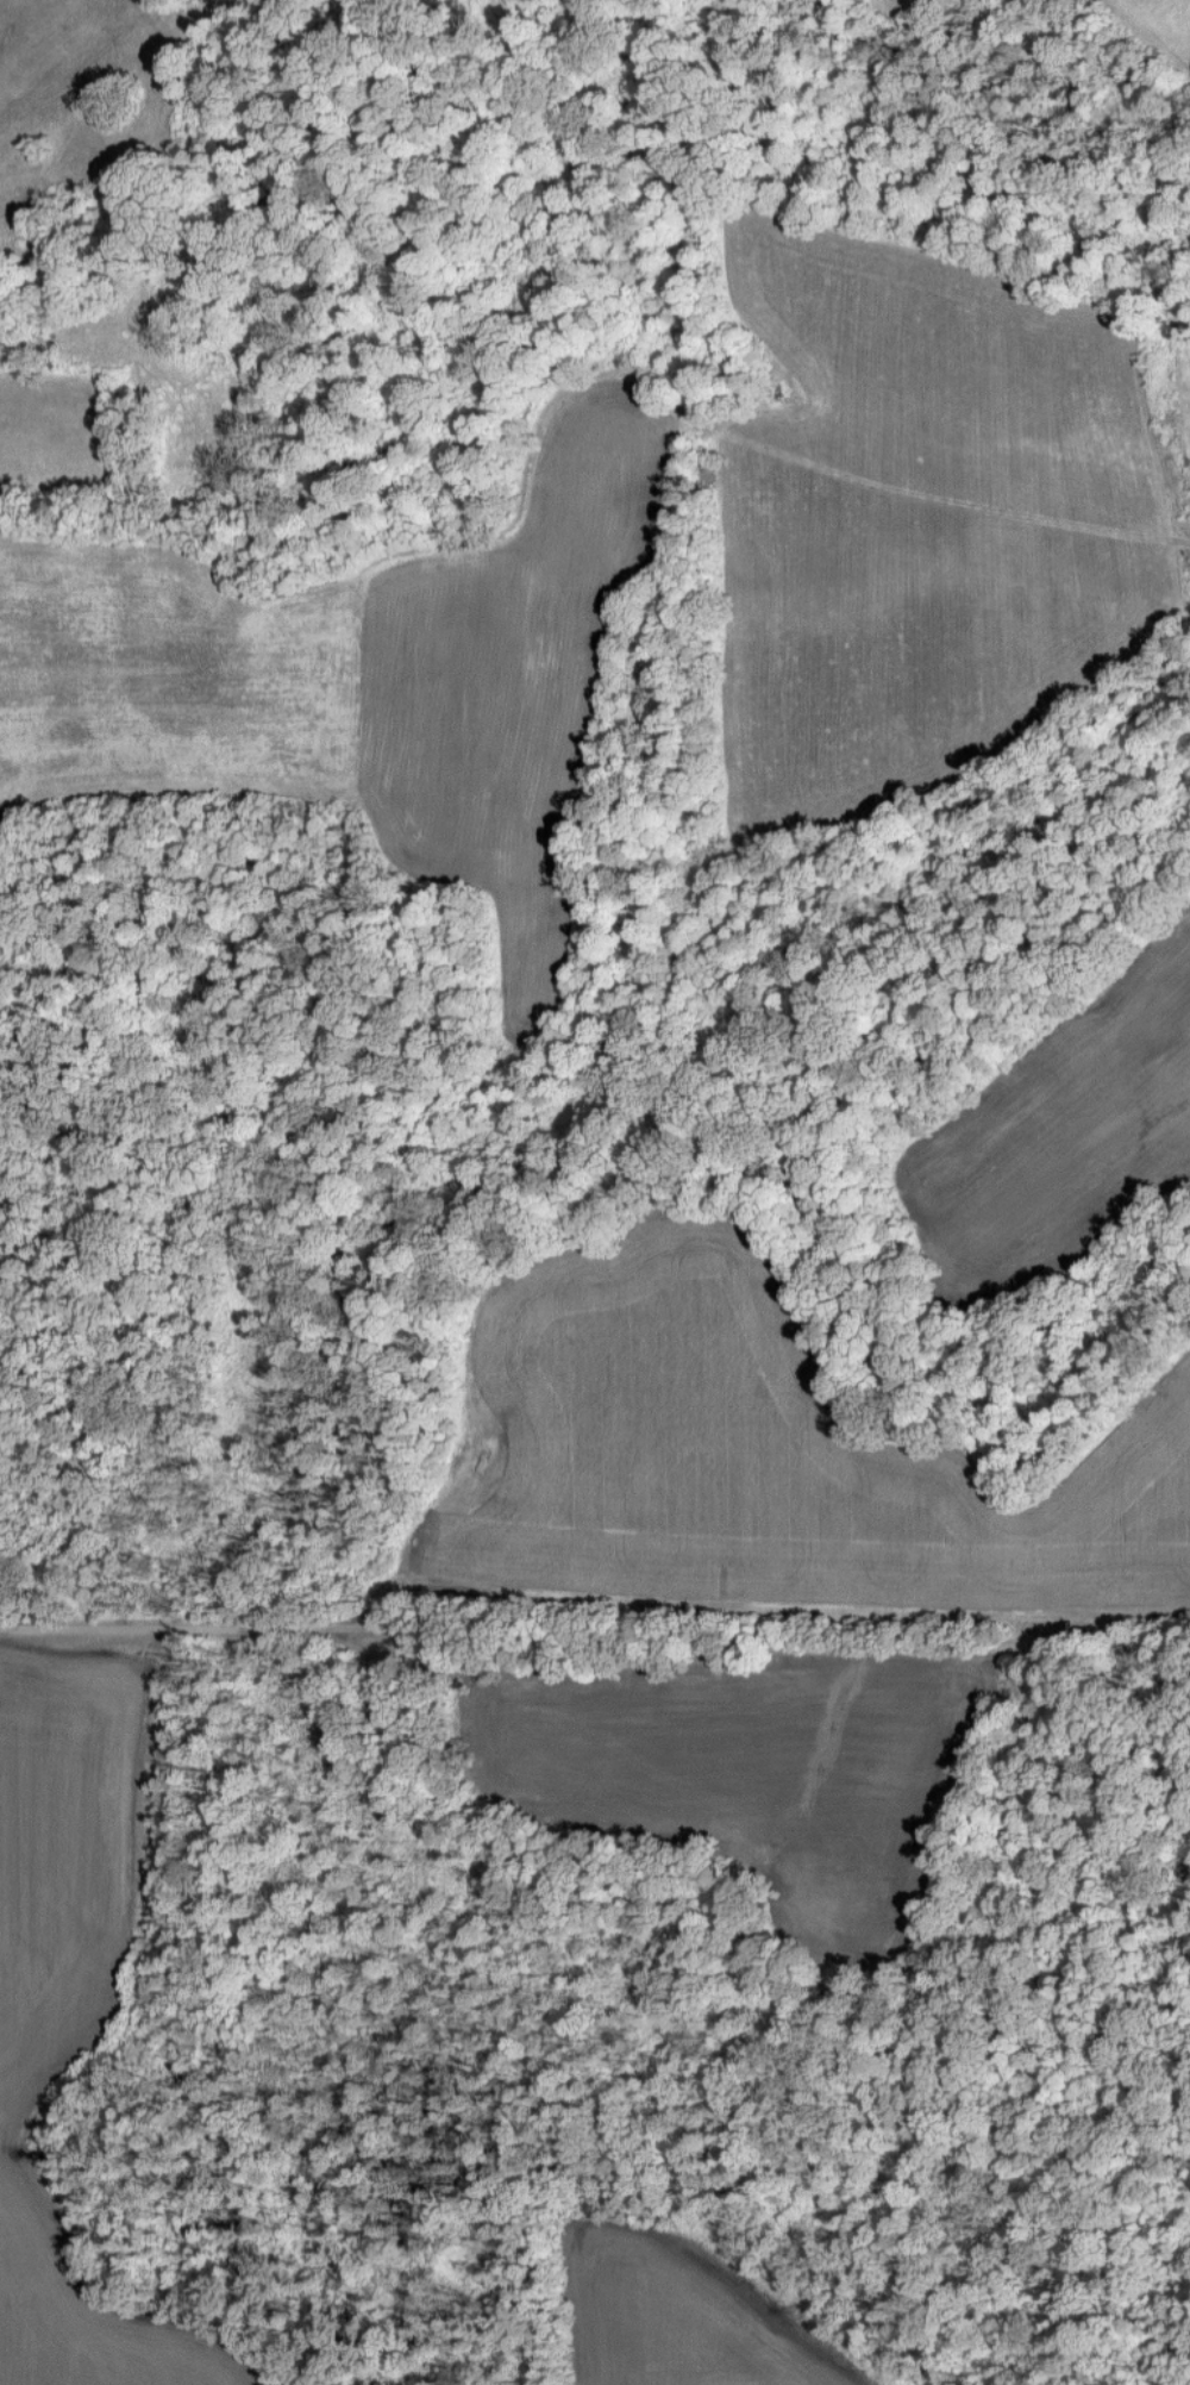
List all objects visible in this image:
road: (113, 1185)
road: (595, 1632)

